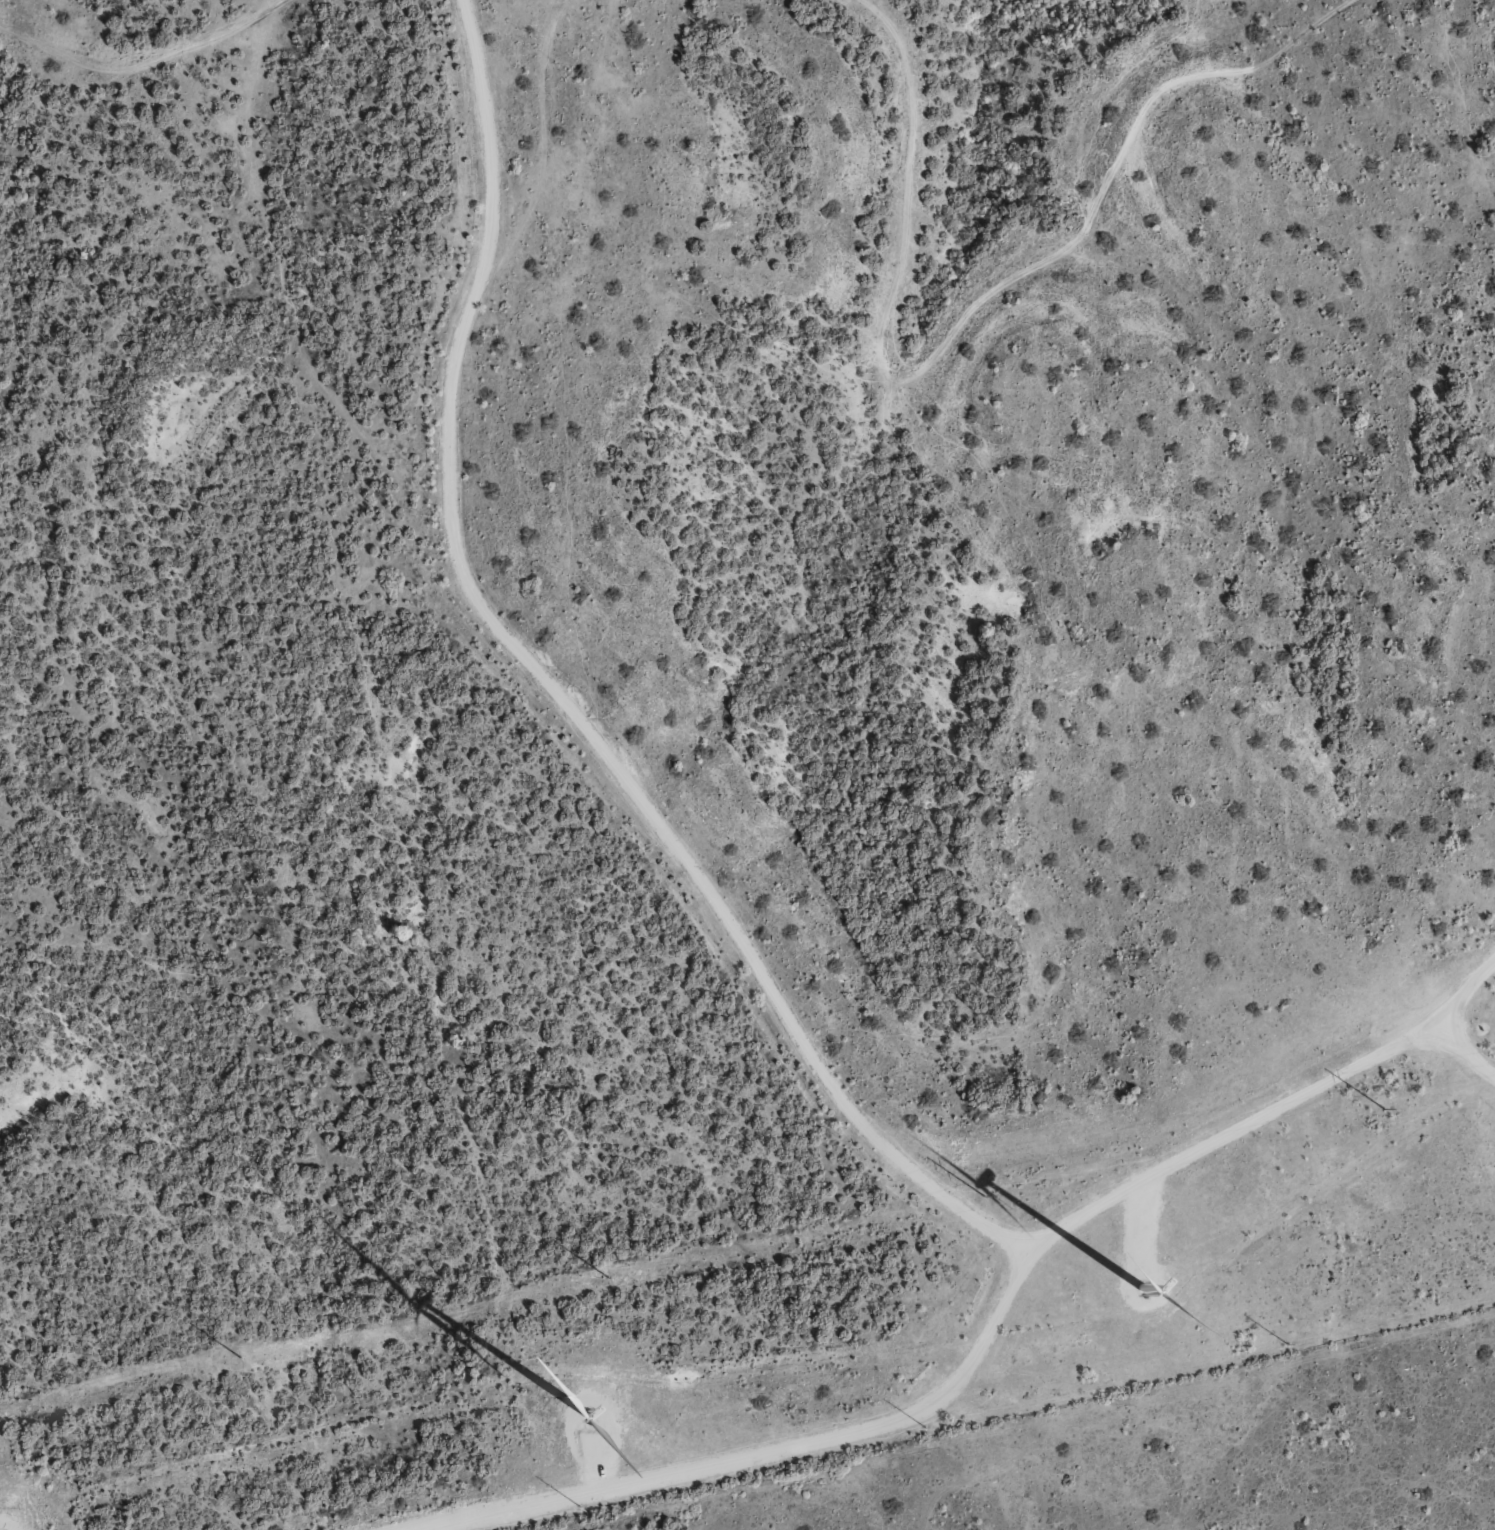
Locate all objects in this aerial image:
road: (133, 43)
road: (1464, 136)
road: (728, 932)
power tower: (1382, 1109)
power tower: (979, 1197)
wind turbine: (1152, 1275)
power tower: (604, 1278)
power tower: (1287, 1343)
power tower: (236, 1358)
road: (1016, 1392)
wind turbine: (581, 1417)
power tower: (924, 1428)
road: (847, 1476)
power tower: (579, 1506)

